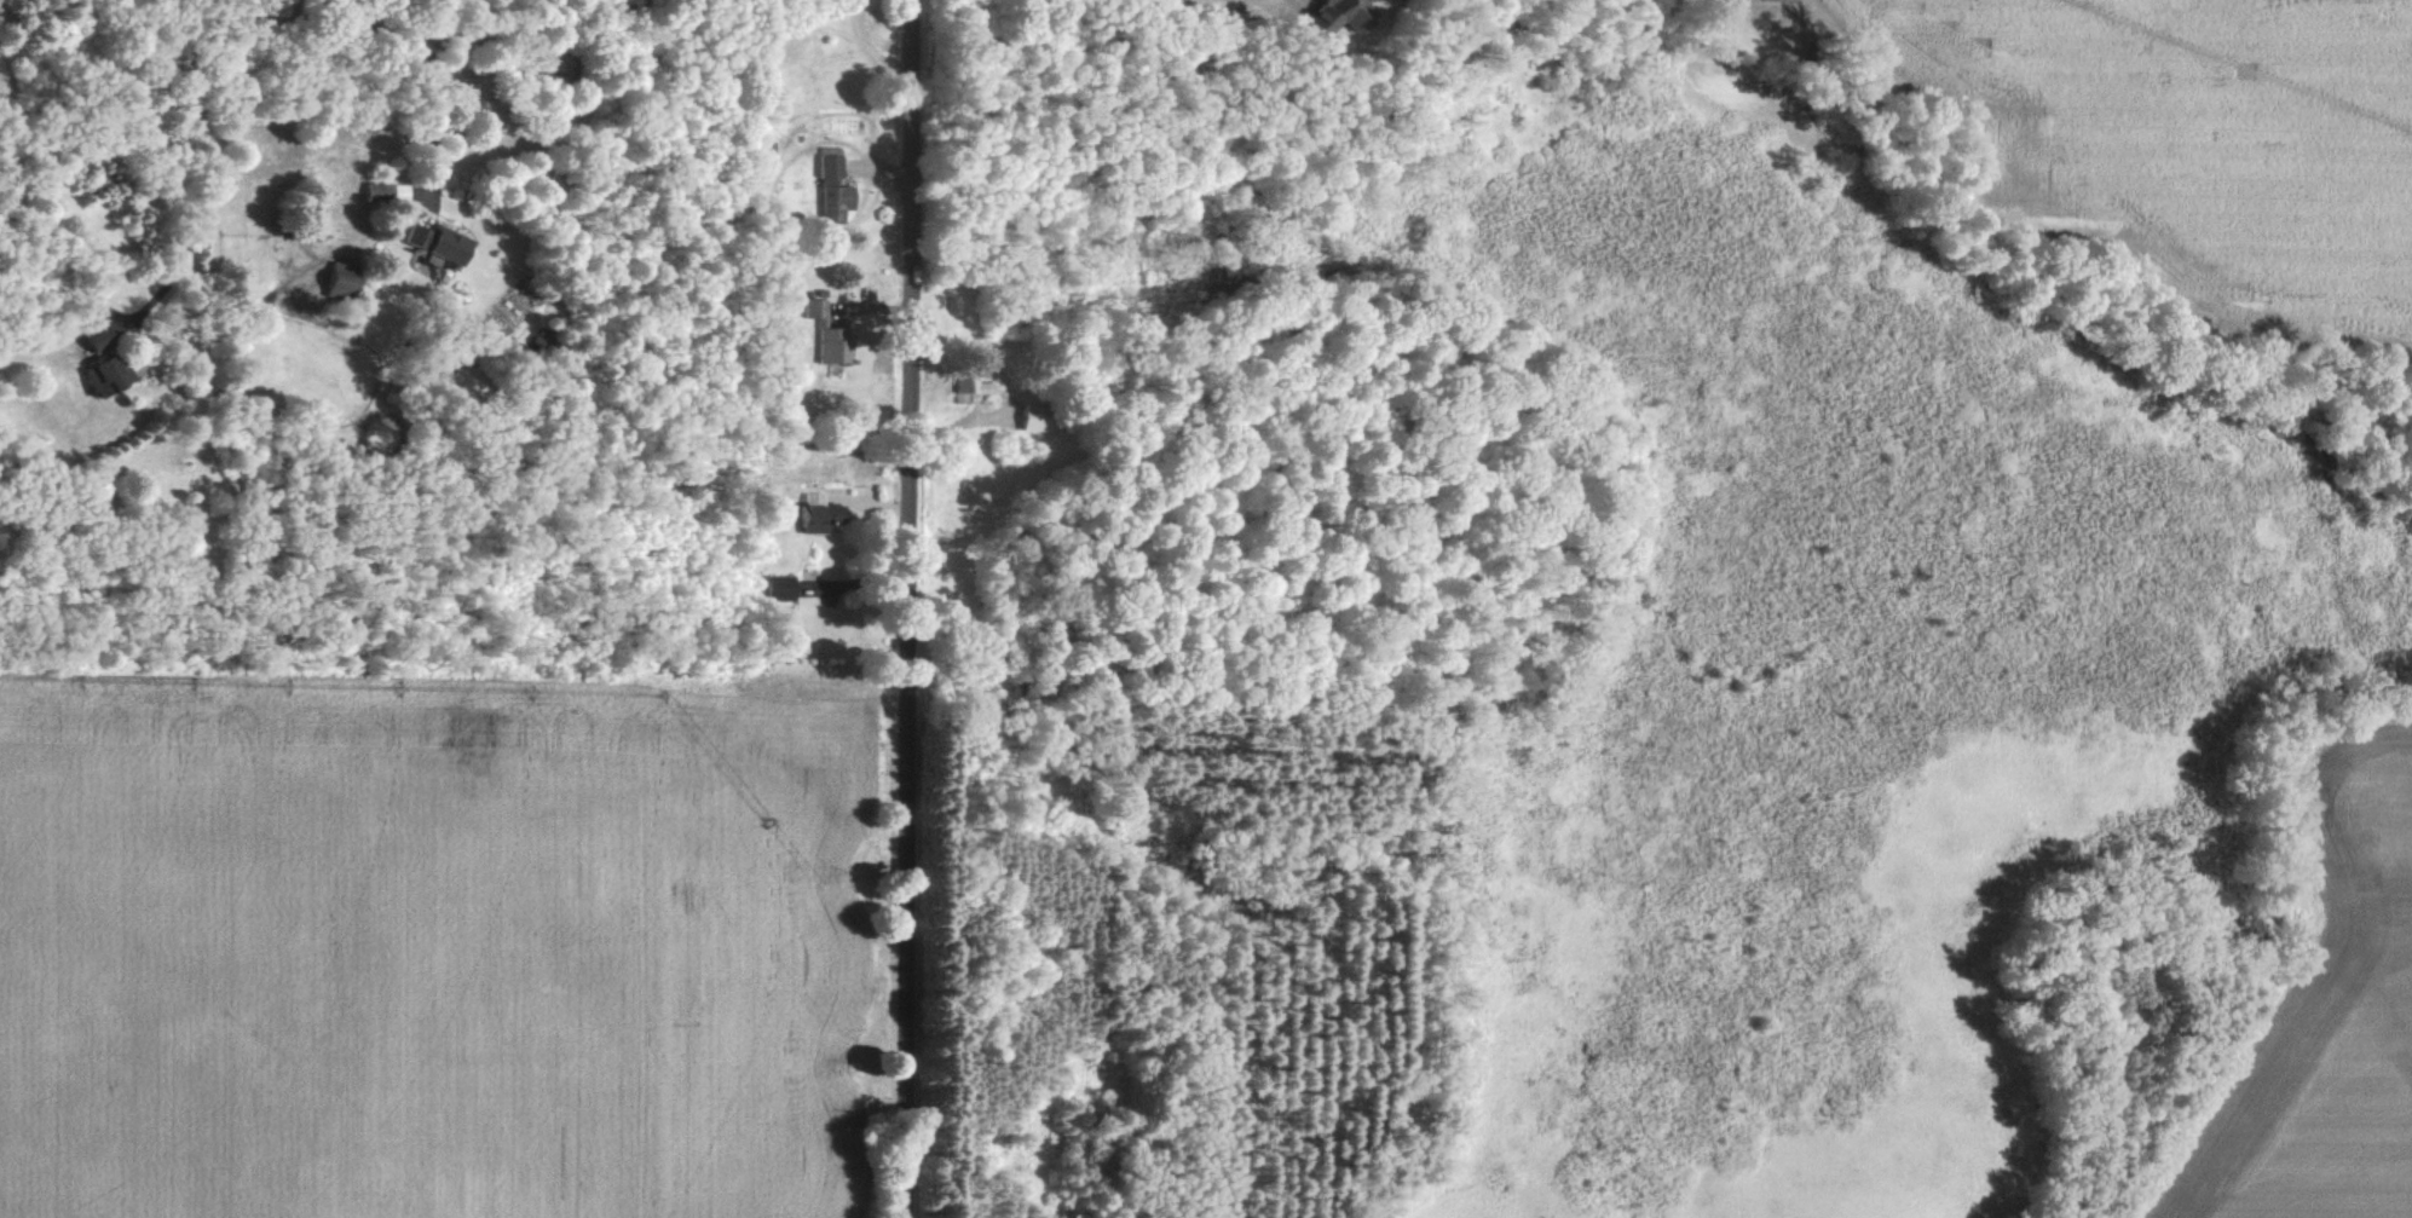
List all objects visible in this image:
building: (1329, 15)
road: (425, 23)
road: (870, 44)
road: (425, 114)
road: (207, 162)
building: (382, 191)
building: (433, 243)
building: (333, 279)
building: (821, 331)
building: (87, 341)
building: (99, 371)
building: (1029, 417)
building: (810, 516)
building: (775, 588)
road: (902, 608)

